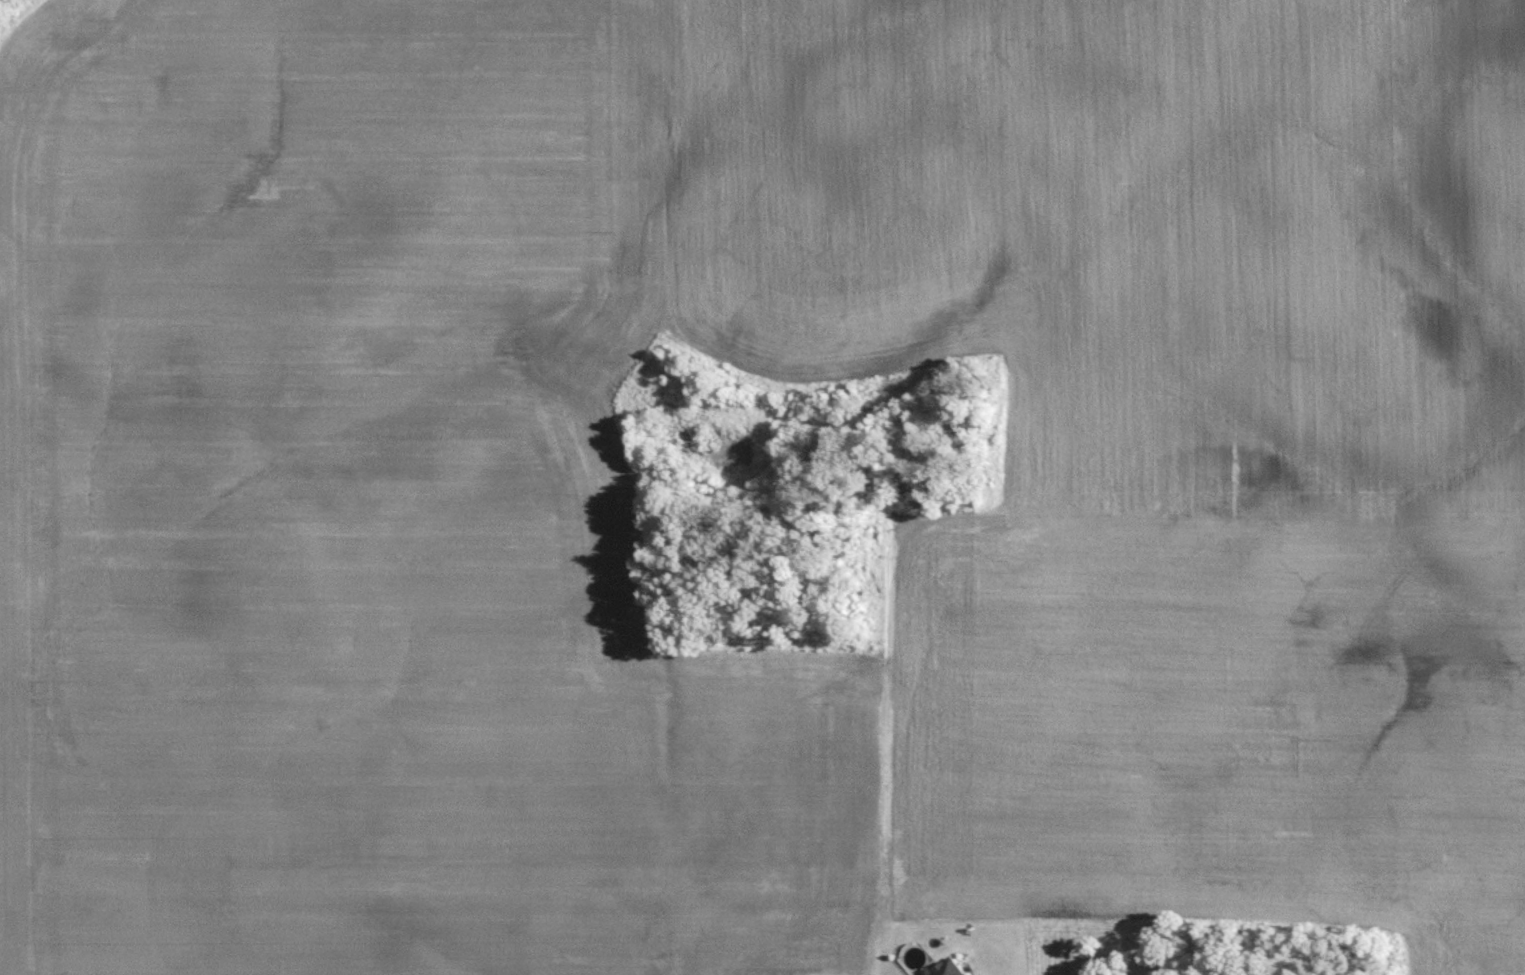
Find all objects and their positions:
building: (939, 969)

